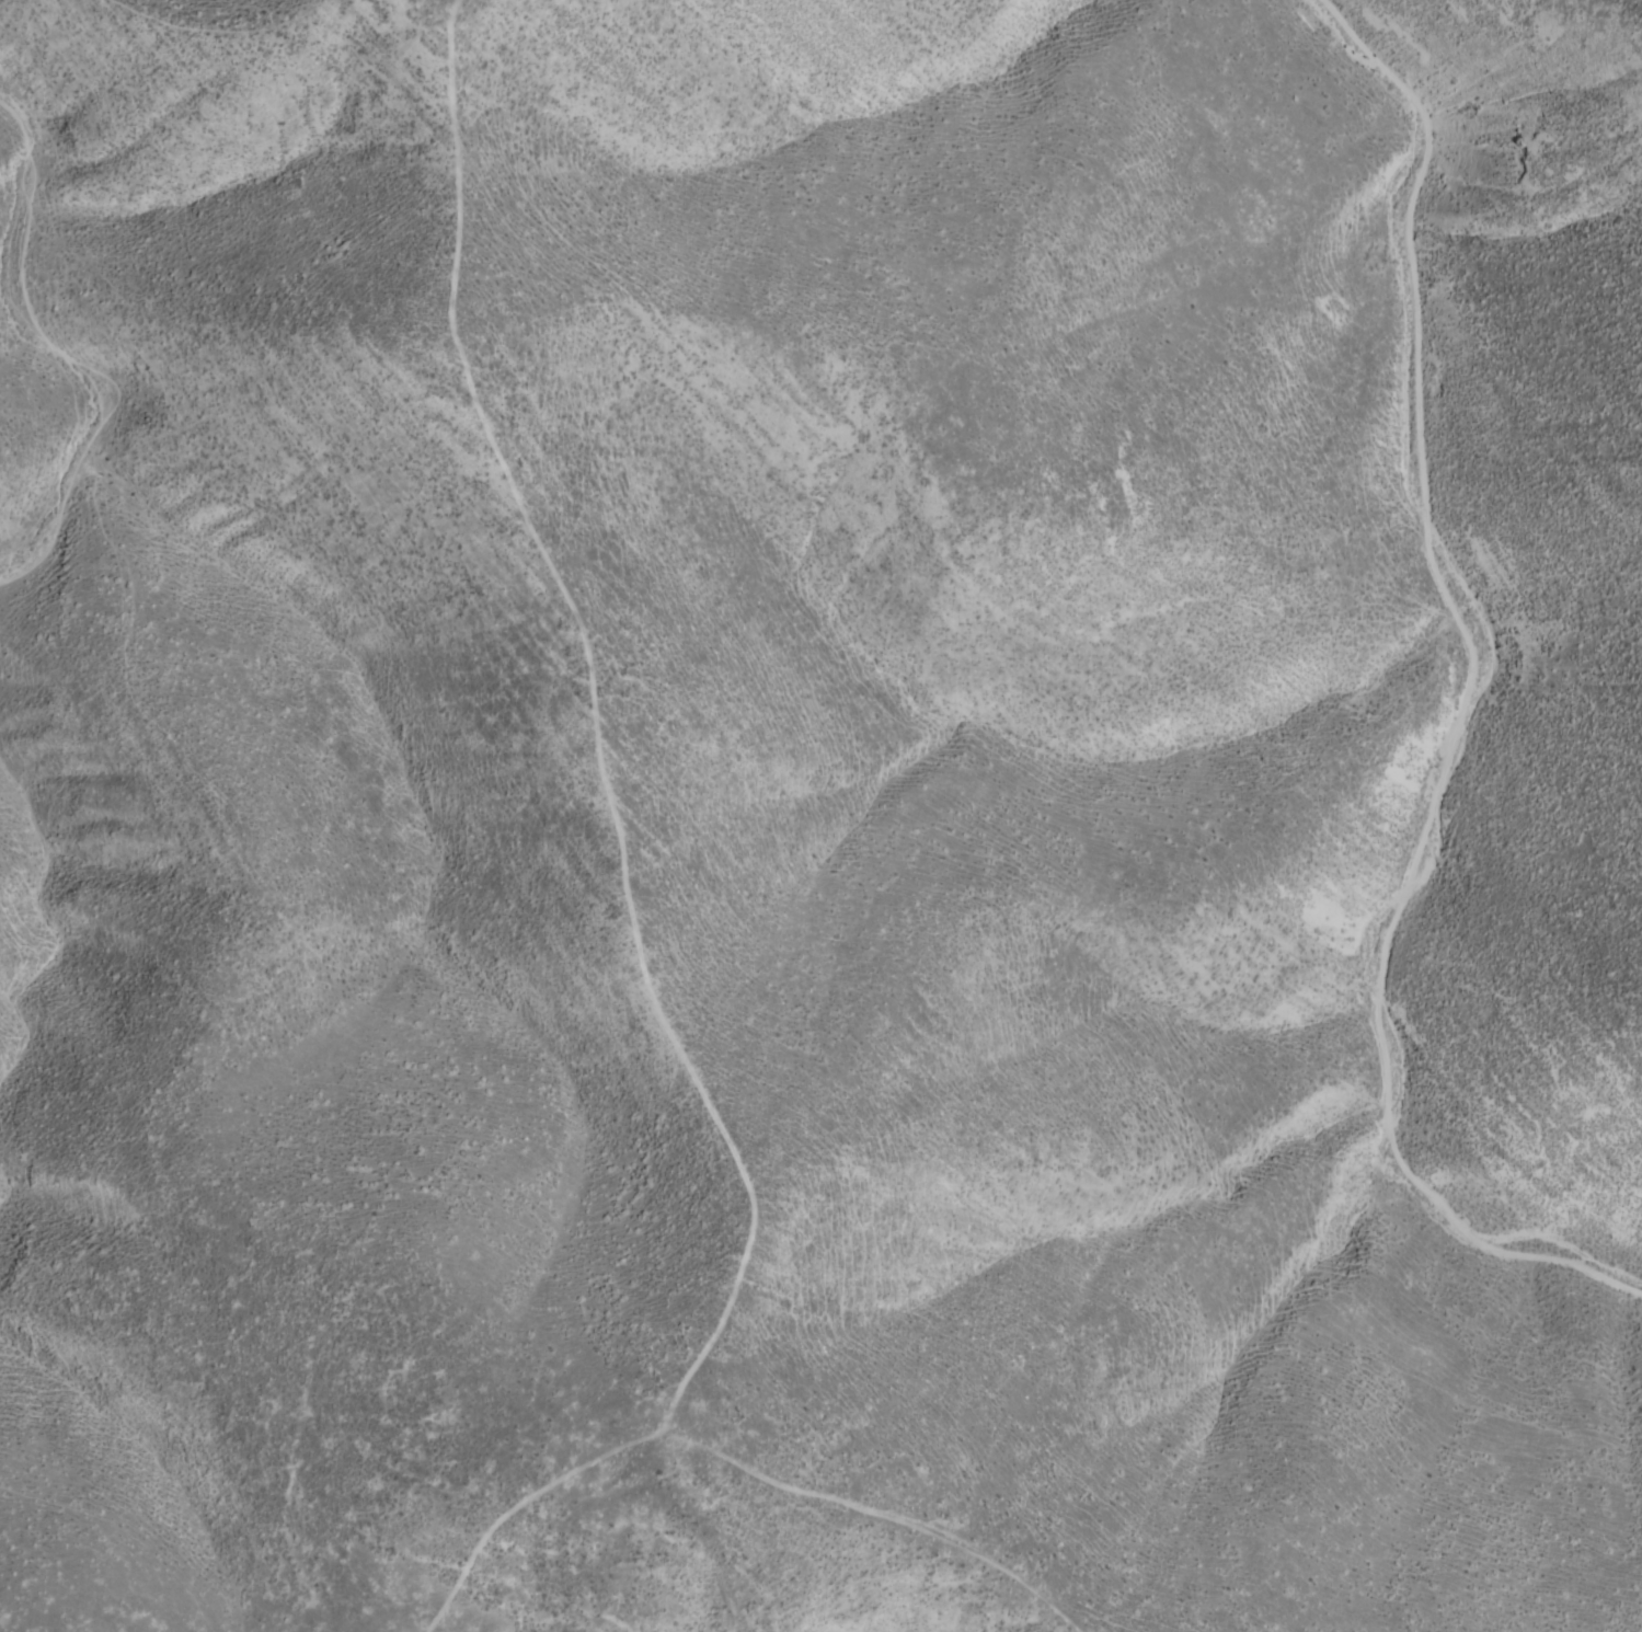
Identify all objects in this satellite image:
road: (656, 1433)

